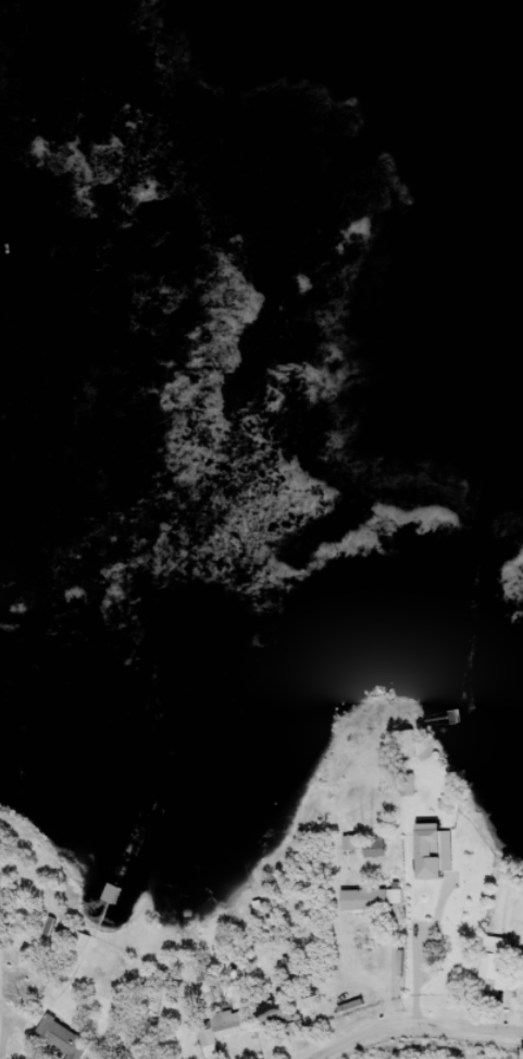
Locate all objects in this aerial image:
building: (409, 793)
building: (352, 851)
building: (375, 856)
building: (435, 859)
building: (395, 905)
building: (365, 908)
building: (495, 969)
building: (275, 1021)
road: (416, 1025)
road: (4, 1031)
building: (231, 1031)
building: (60, 1044)
building: (209, 1048)

